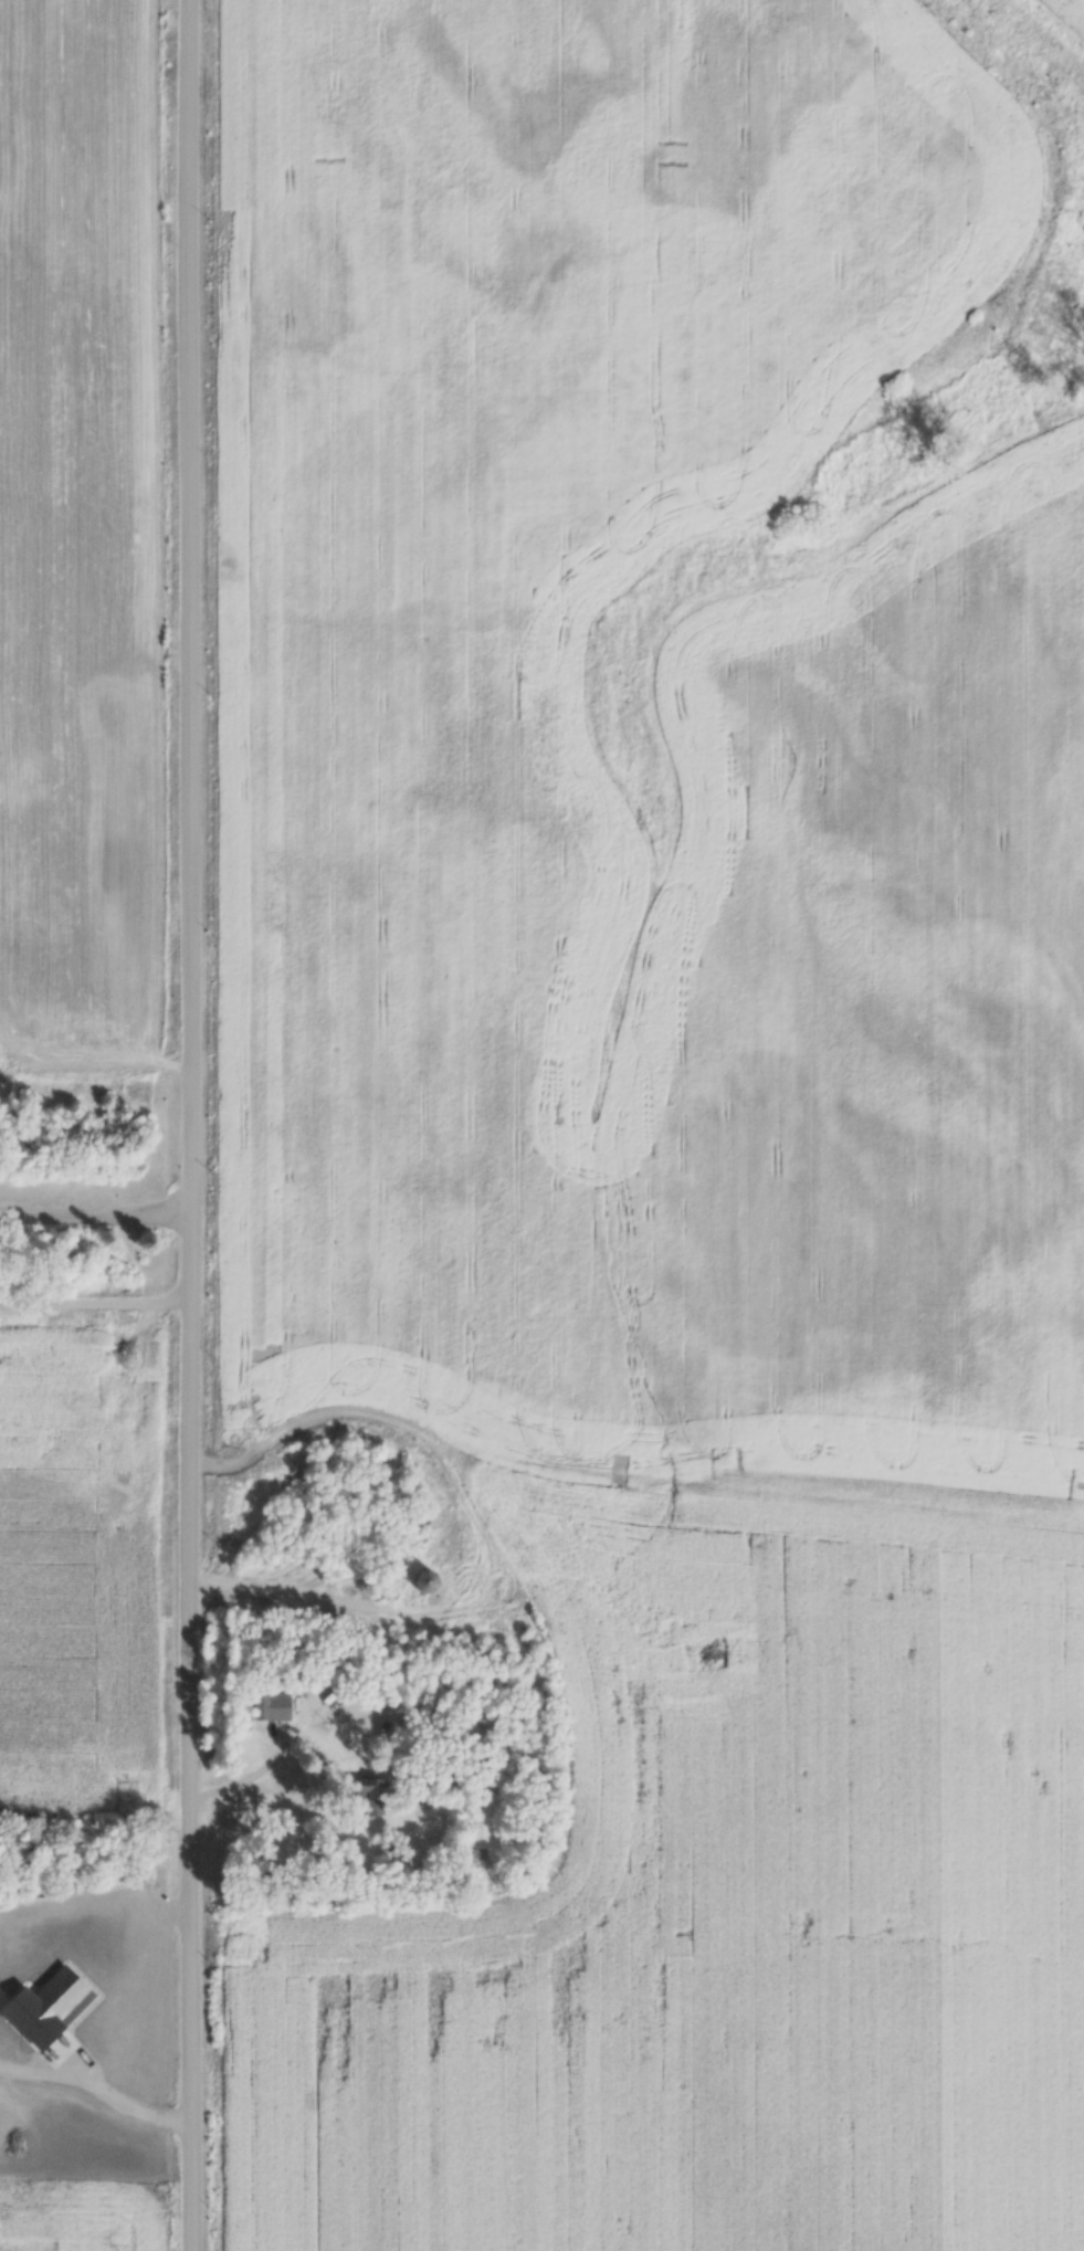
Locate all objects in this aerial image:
road: (197, 1125)
road: (98, 1216)
road: (98, 1298)
building: (419, 1580)
building: (269, 1706)
road: (253, 1778)
road: (95, 1896)
road: (98, 2084)

